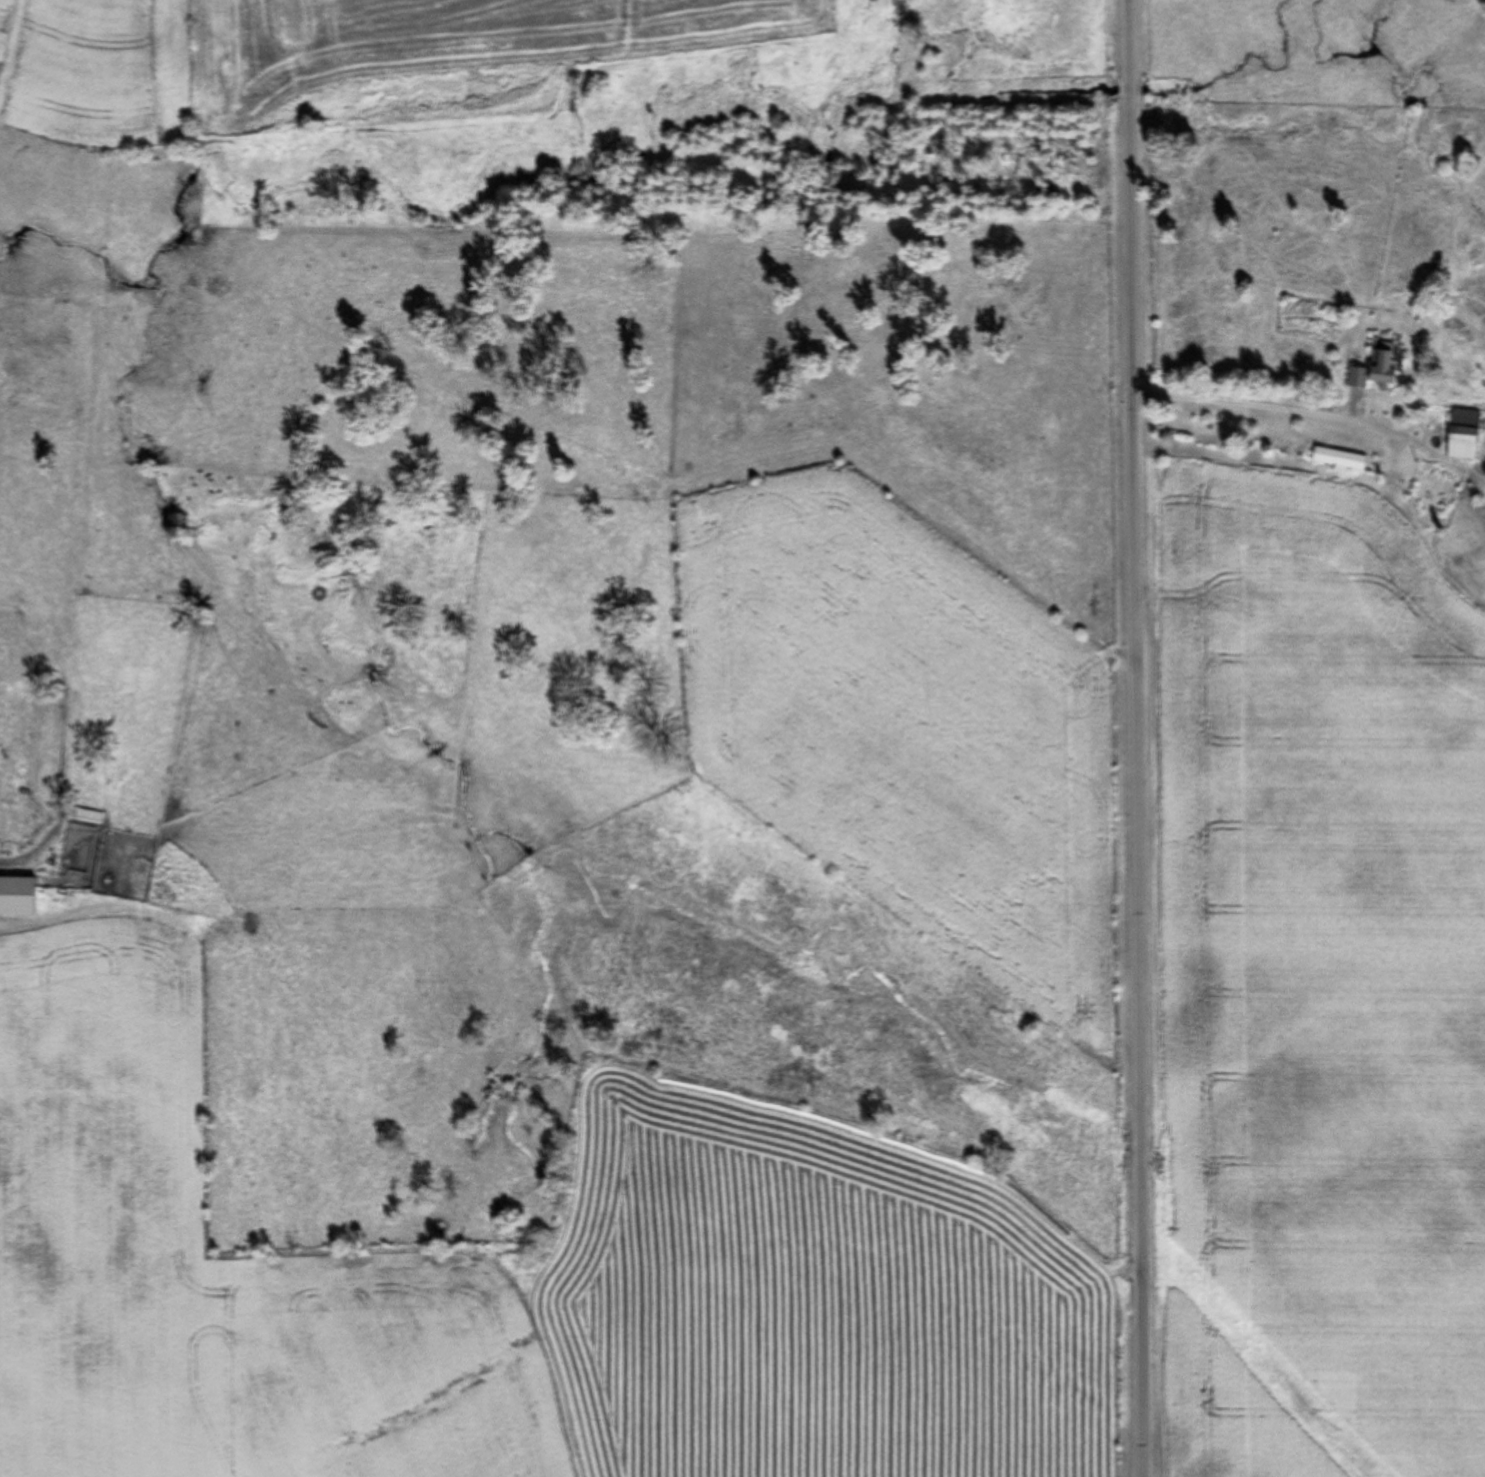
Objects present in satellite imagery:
building: (1375, 368)
road: (1266, 407)
building: (1462, 434)
building: (1338, 458)
road: (1136, 738)
building: (88, 818)

